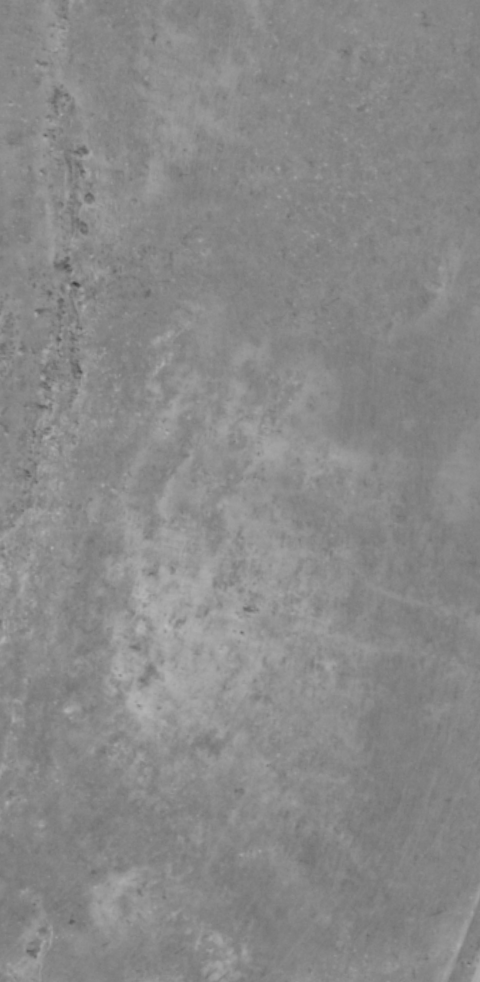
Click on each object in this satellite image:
road: (469, 957)

